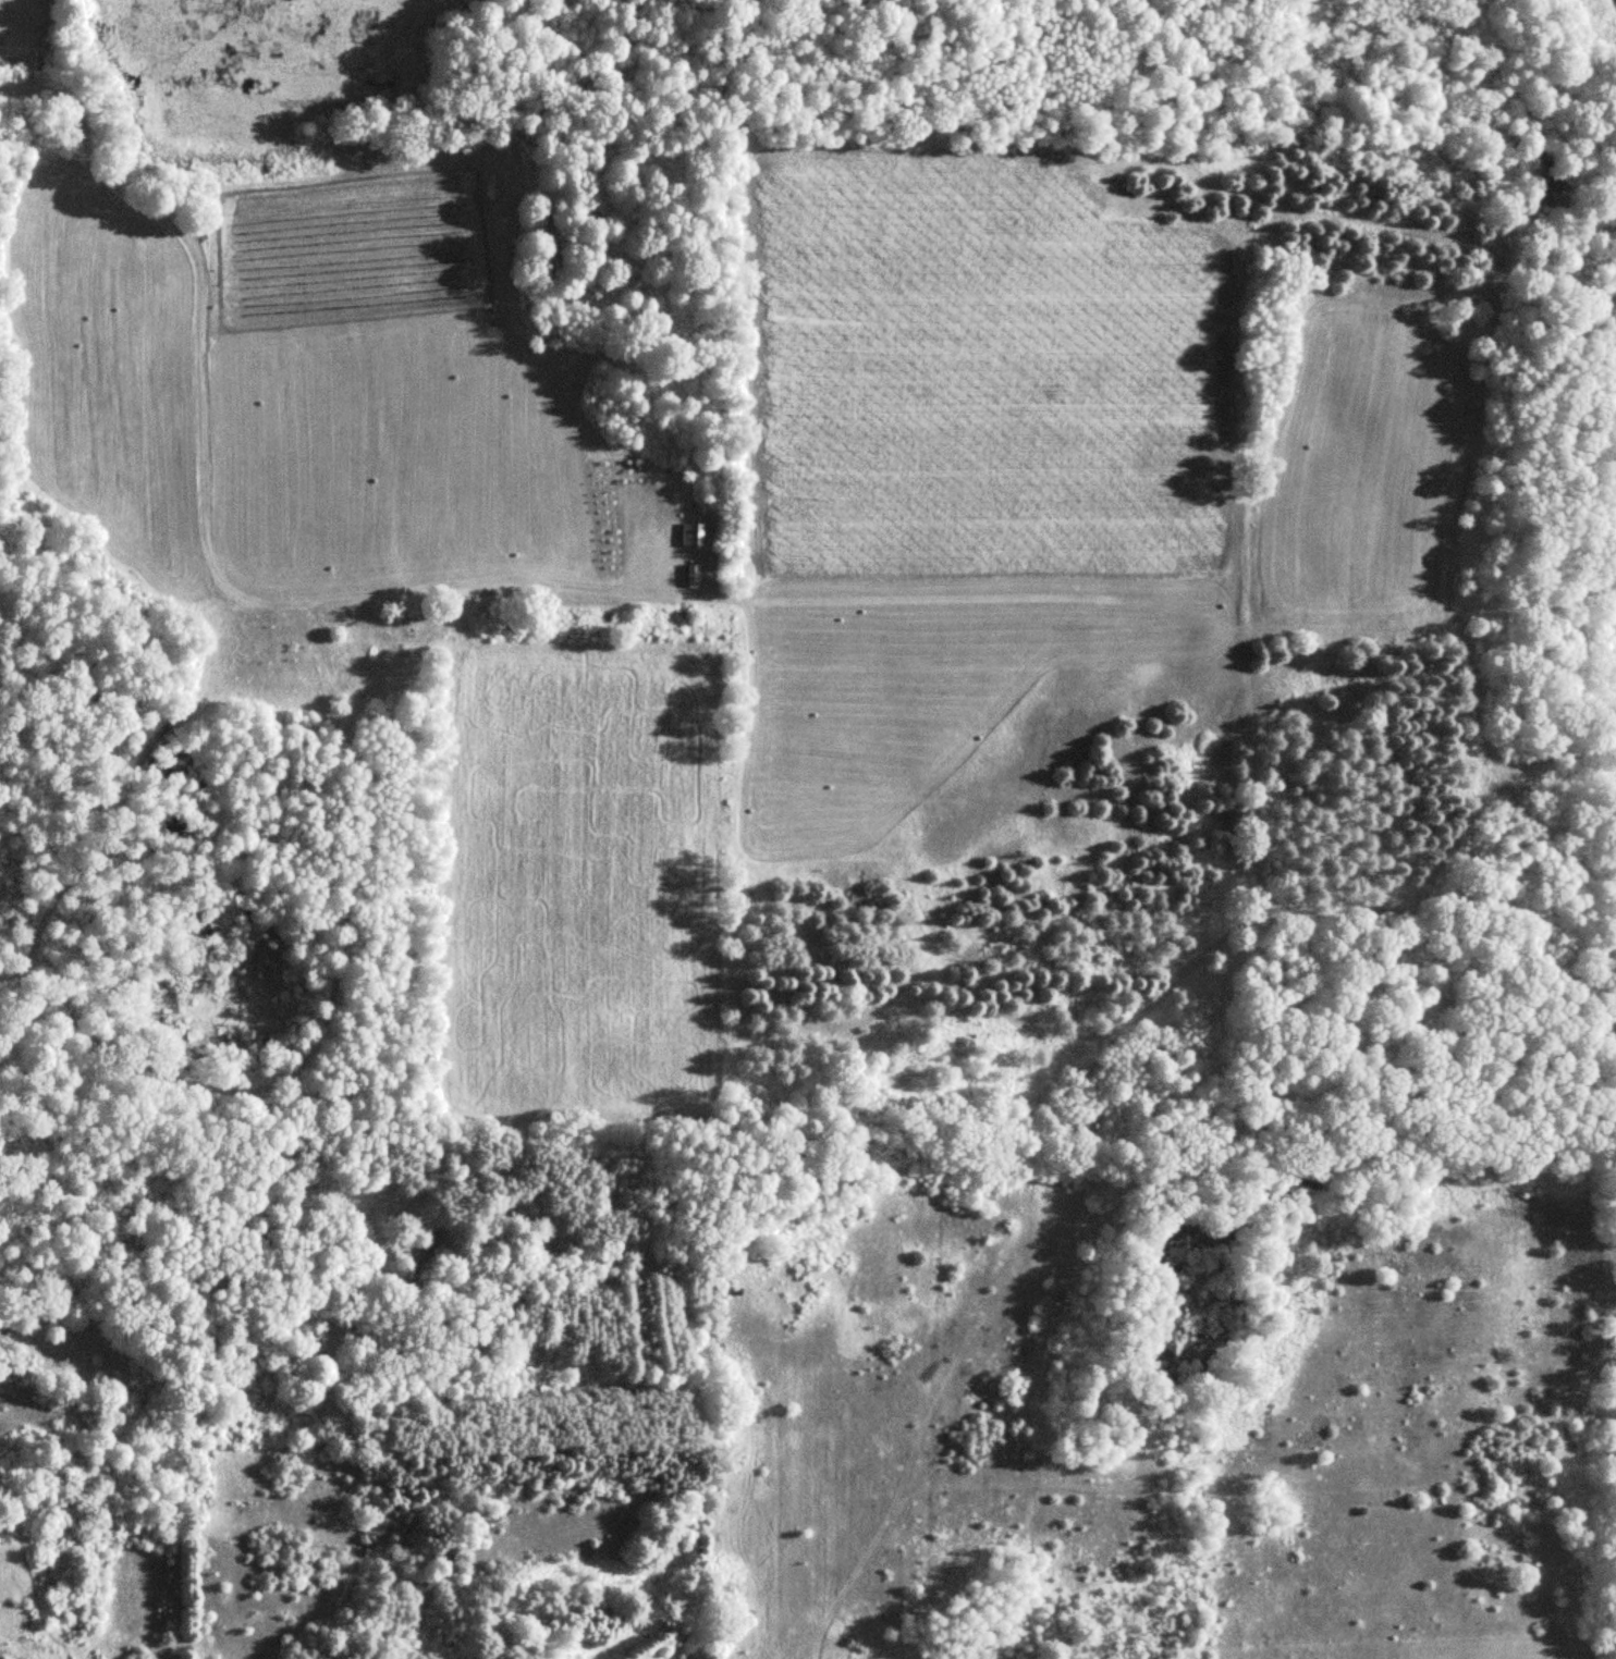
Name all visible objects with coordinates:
road: (9, 84)
building: (695, 574)

